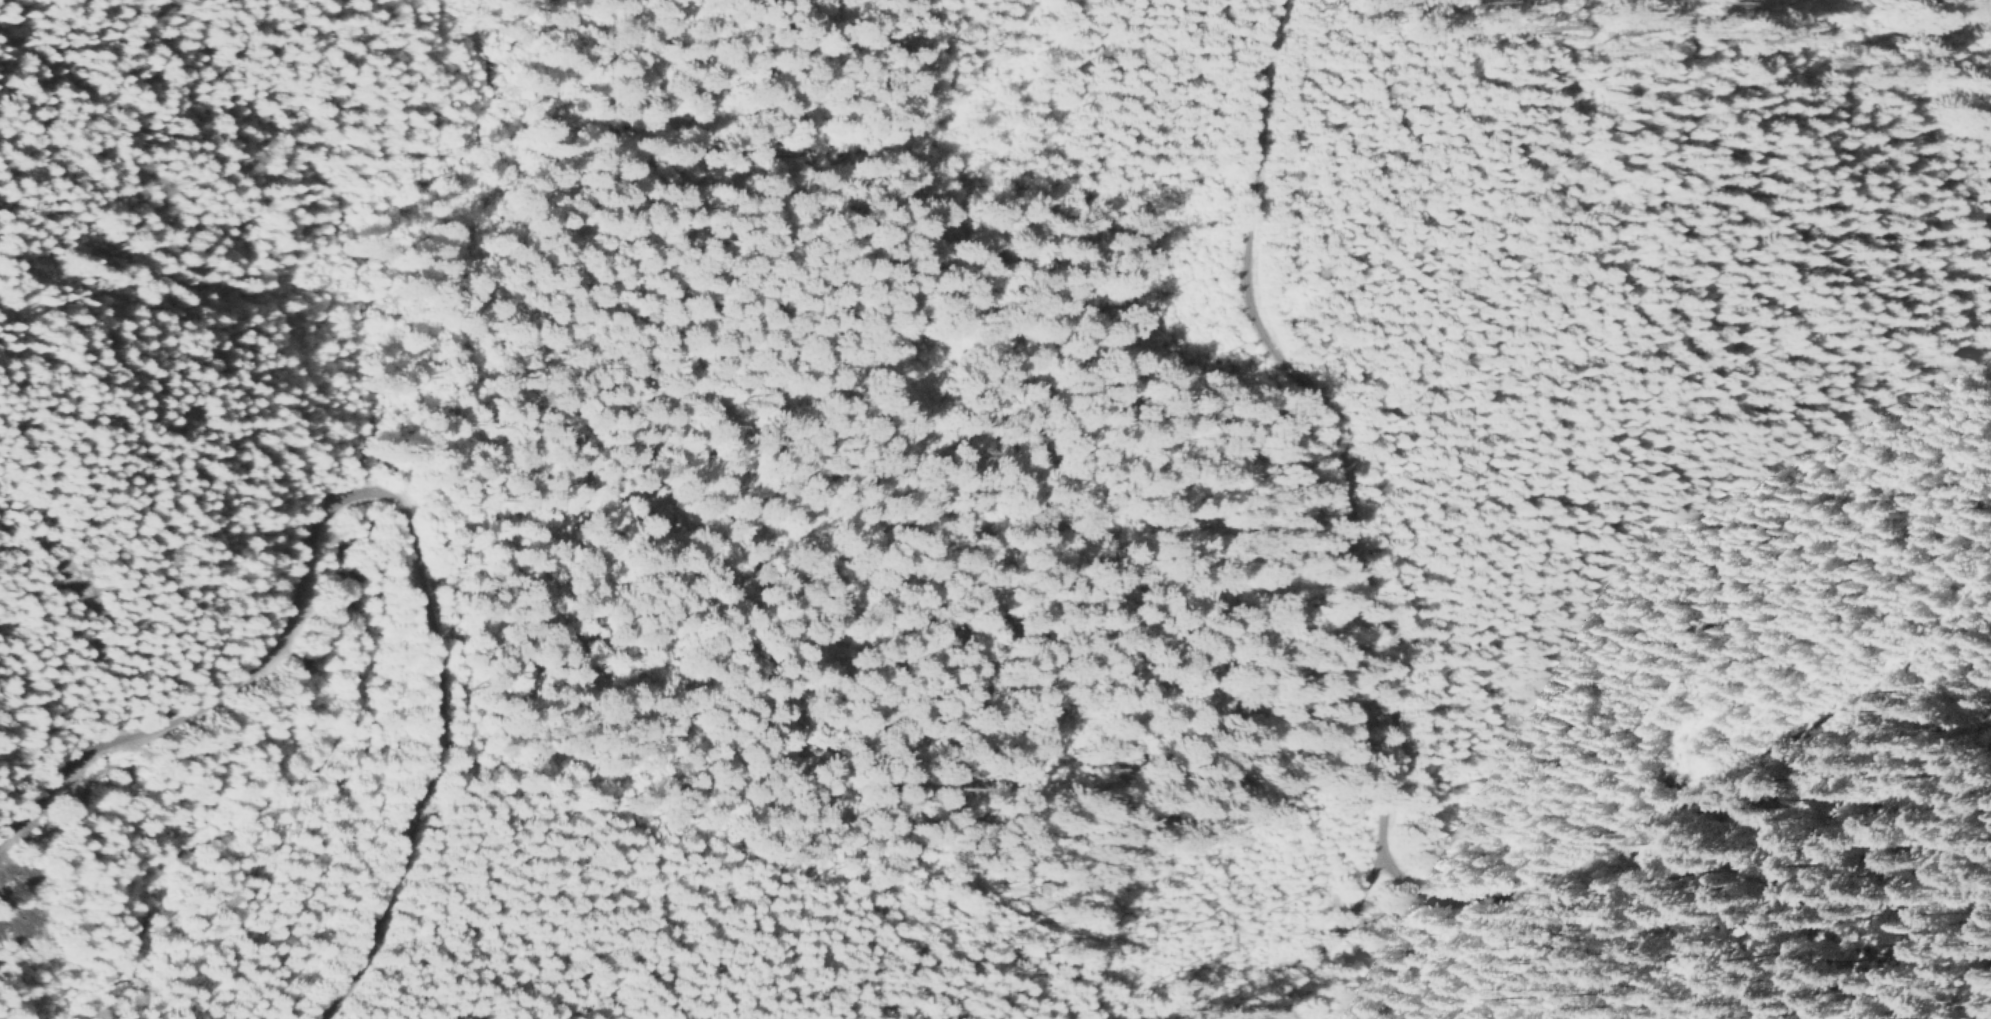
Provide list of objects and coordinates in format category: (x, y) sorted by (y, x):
road: (1964, 218)
road: (382, 500)
road: (1374, 784)
road: (1357, 890)
road: (1328, 933)

